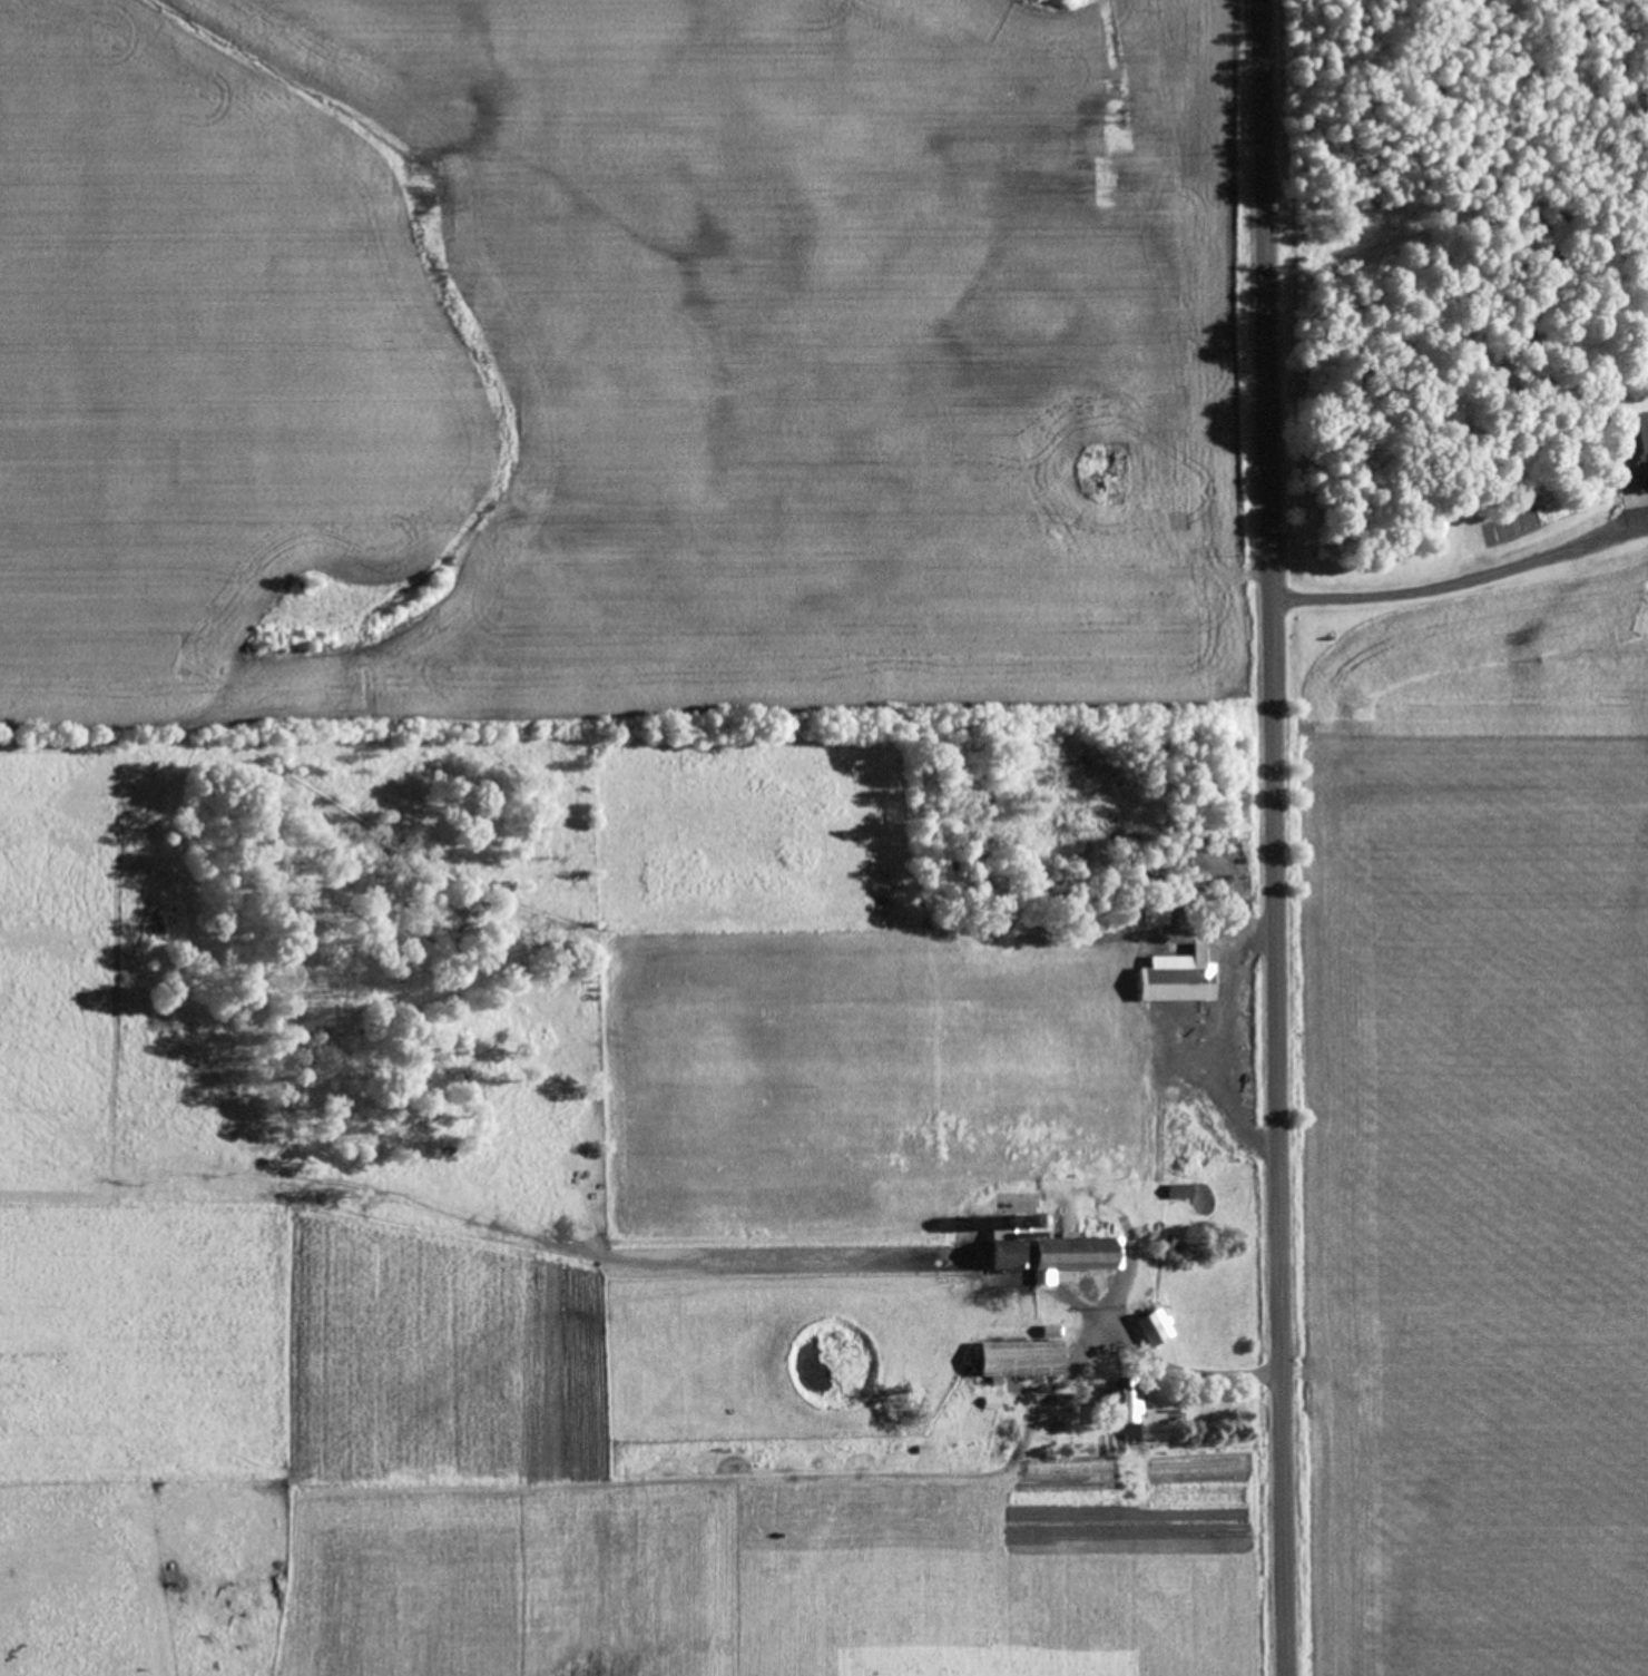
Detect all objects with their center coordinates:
building: (1626, 455)
road: (1265, 837)
building: (1178, 1194)
building: (1046, 1261)
building: (1152, 1330)
building: (1013, 1362)
building: (1112, 1407)
building: (1146, 1432)

